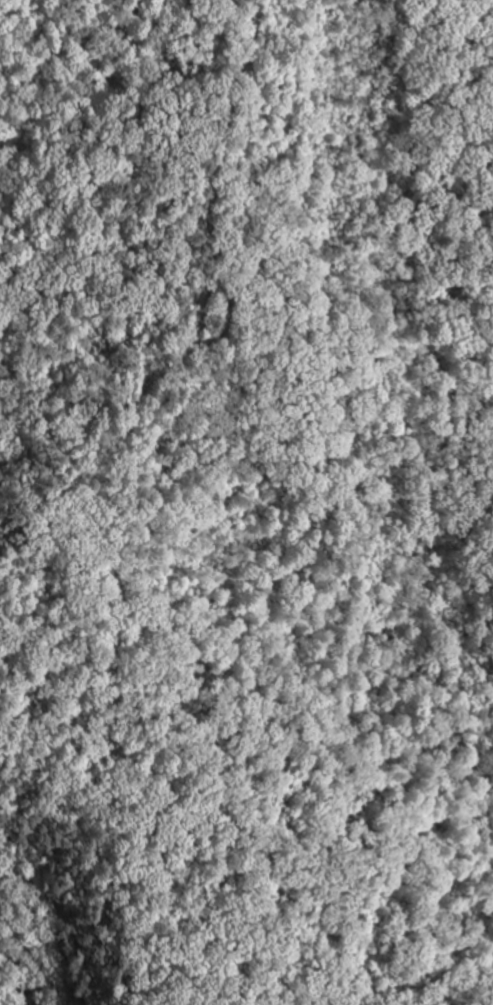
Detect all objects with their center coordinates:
road: (450, 34)

